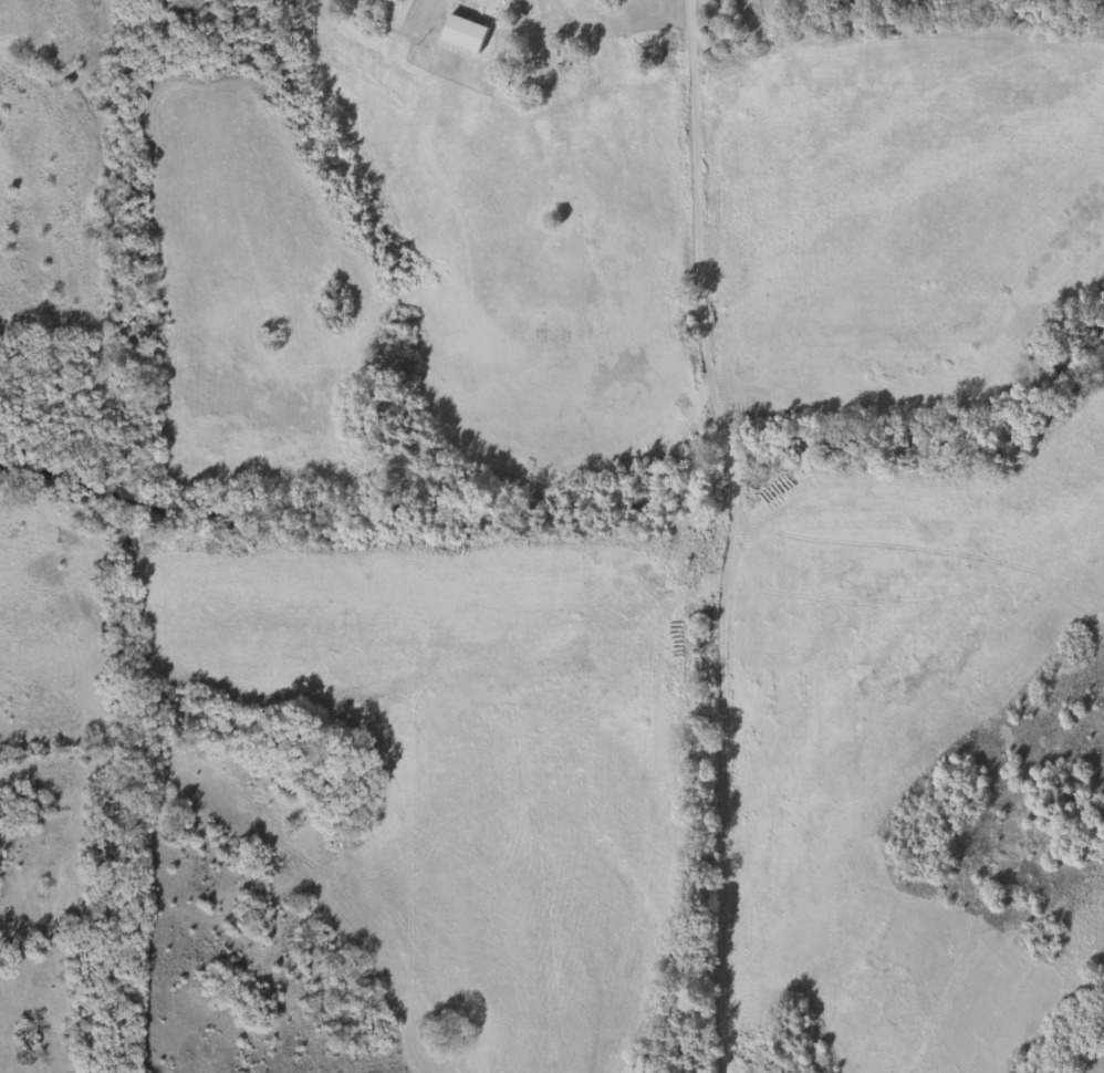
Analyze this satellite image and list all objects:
road: (729, 534)

